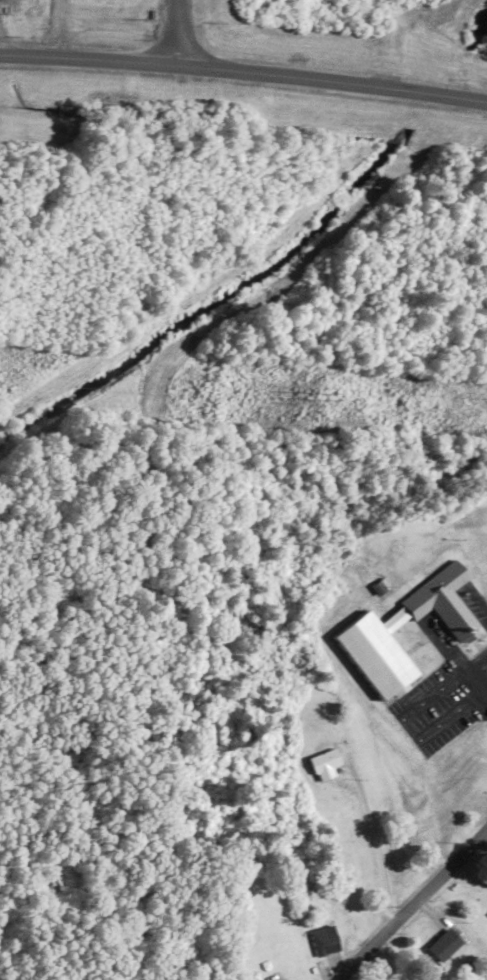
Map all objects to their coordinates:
road: (176, 32)
road: (244, 72)
building: (440, 601)
building: (325, 763)
road: (407, 903)
building: (324, 940)
building: (444, 944)

